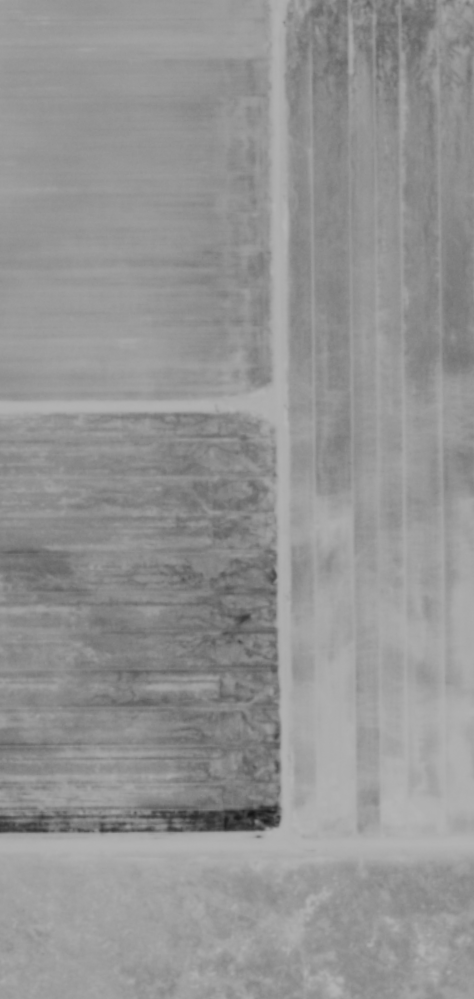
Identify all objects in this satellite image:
road: (289, 326)

